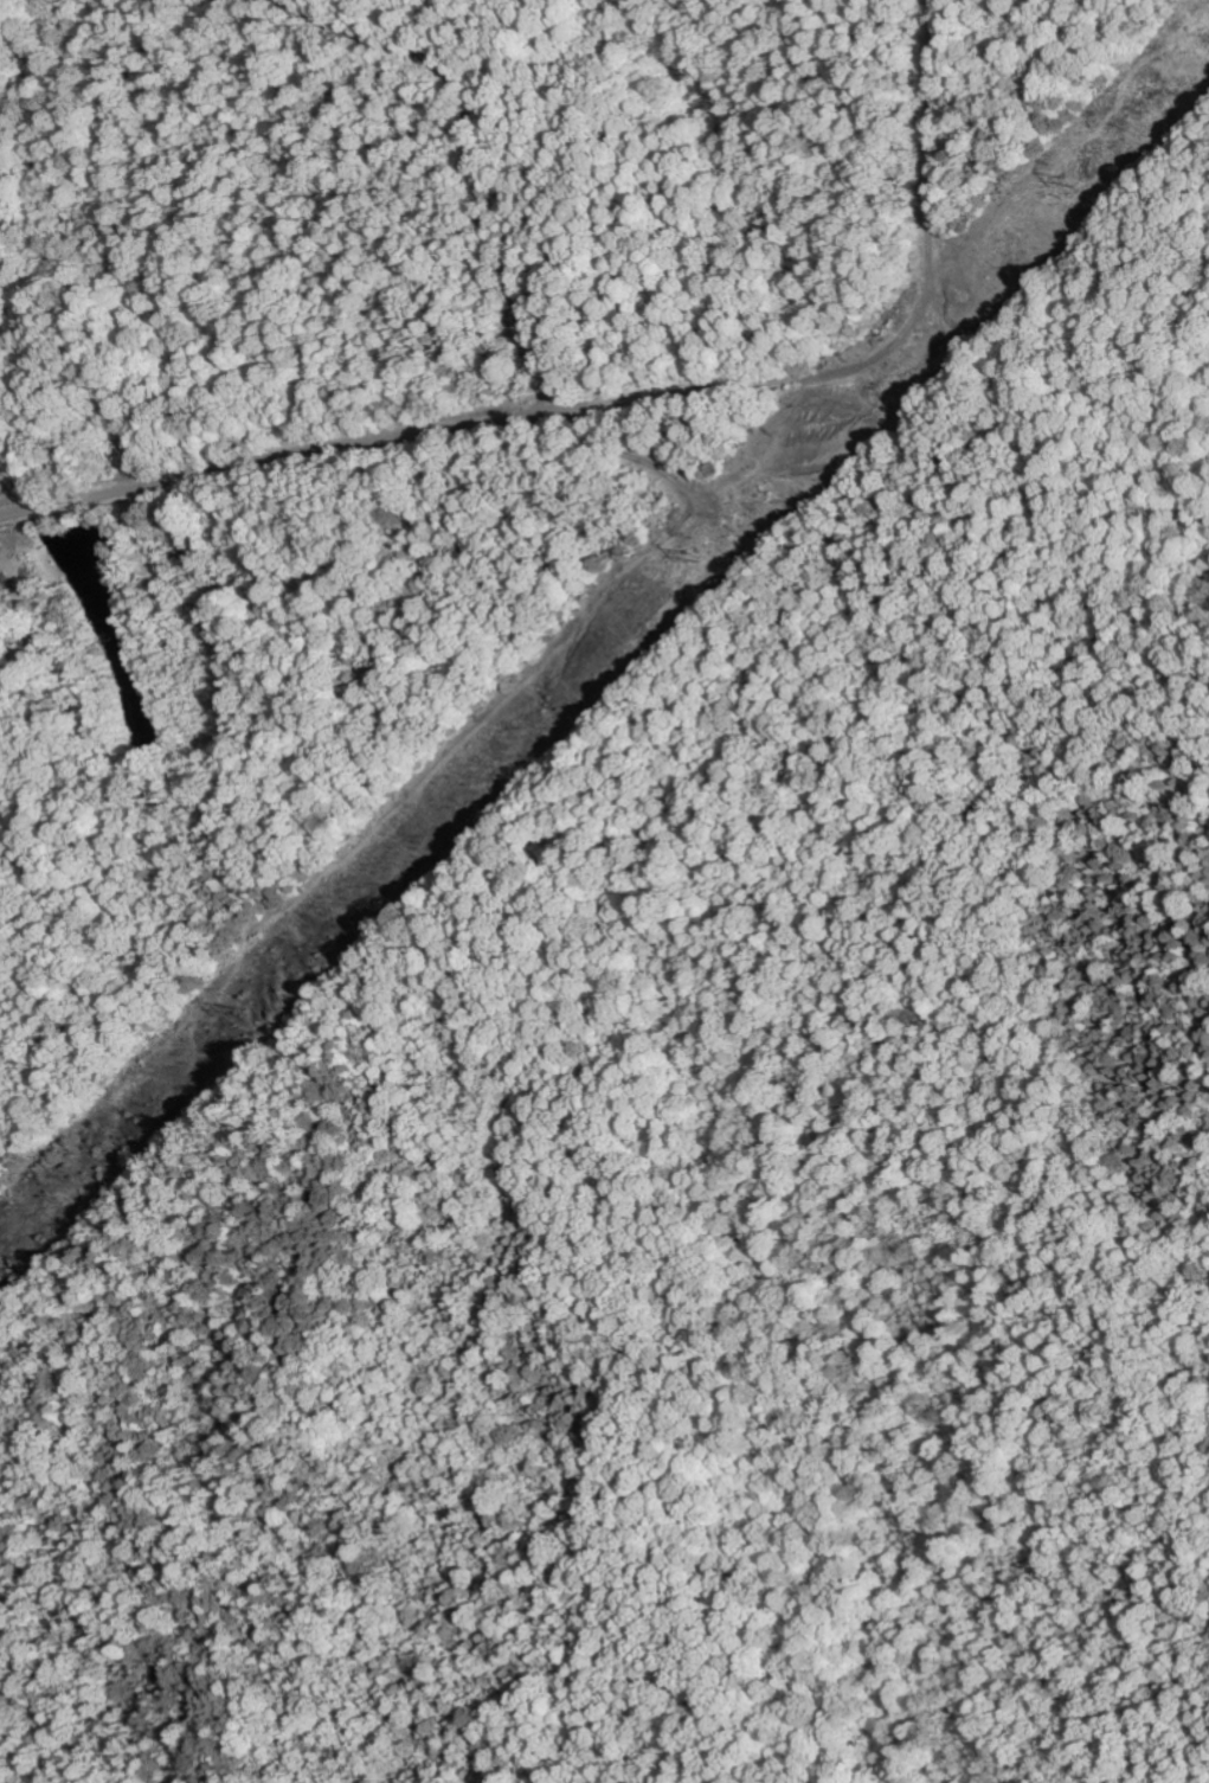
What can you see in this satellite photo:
road: (504, 116)
road: (361, 444)

